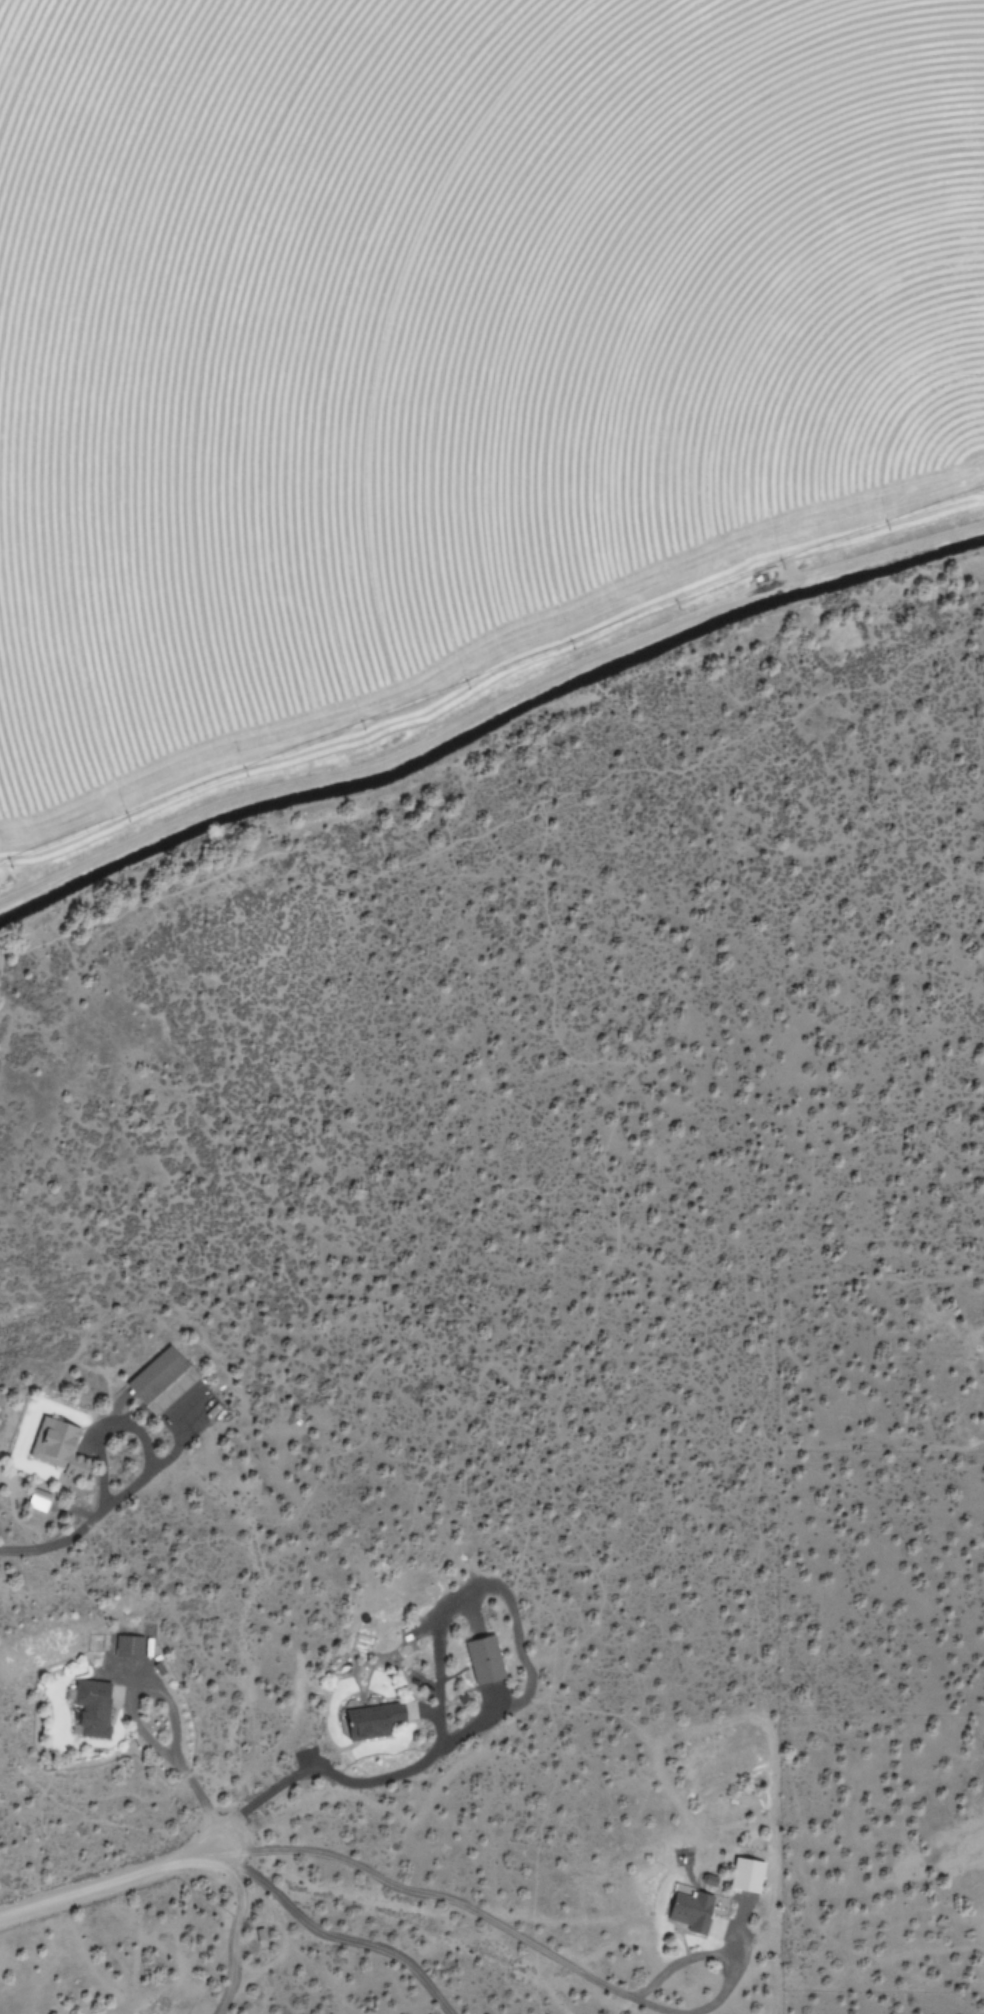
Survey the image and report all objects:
road: (488, 703)
building: (165, 1379)
building: (63, 1450)
building: (131, 1646)
building: (487, 1659)
building: (93, 1712)
building: (379, 1717)
building: (750, 1874)
road: (112, 1875)
road: (455, 1902)
road: (337, 1938)
road: (731, 1997)

